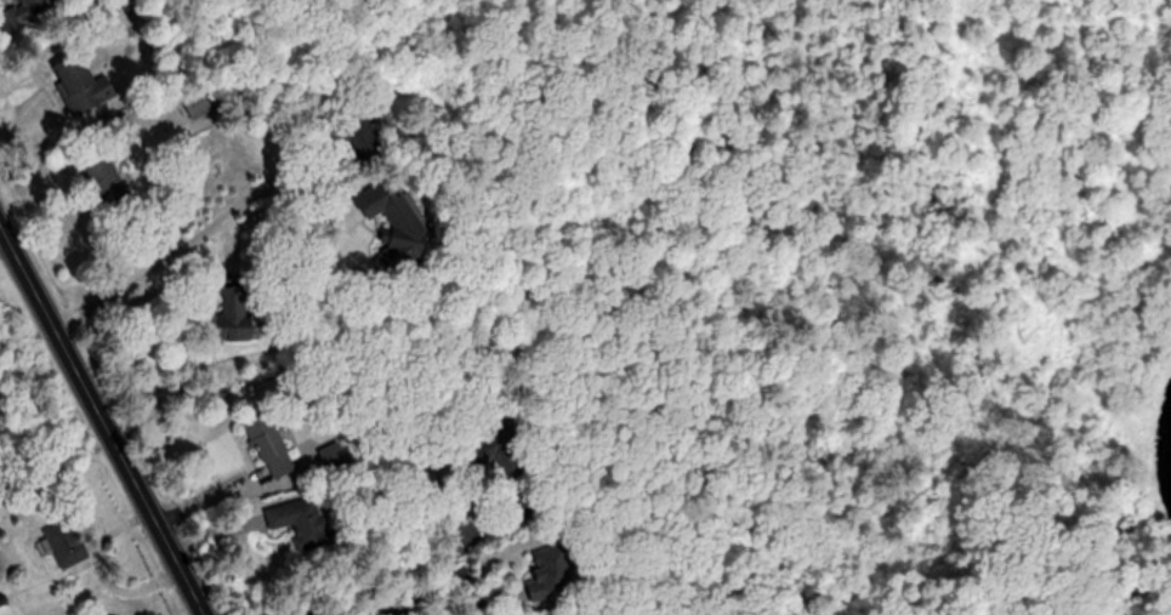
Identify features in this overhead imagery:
building: (29, 6)
building: (76, 81)
building: (387, 224)
road: (157, 263)
building: (235, 319)
road: (97, 431)
building: (269, 445)
building: (289, 520)
building: (66, 543)
building: (548, 581)
building: (4, 610)

